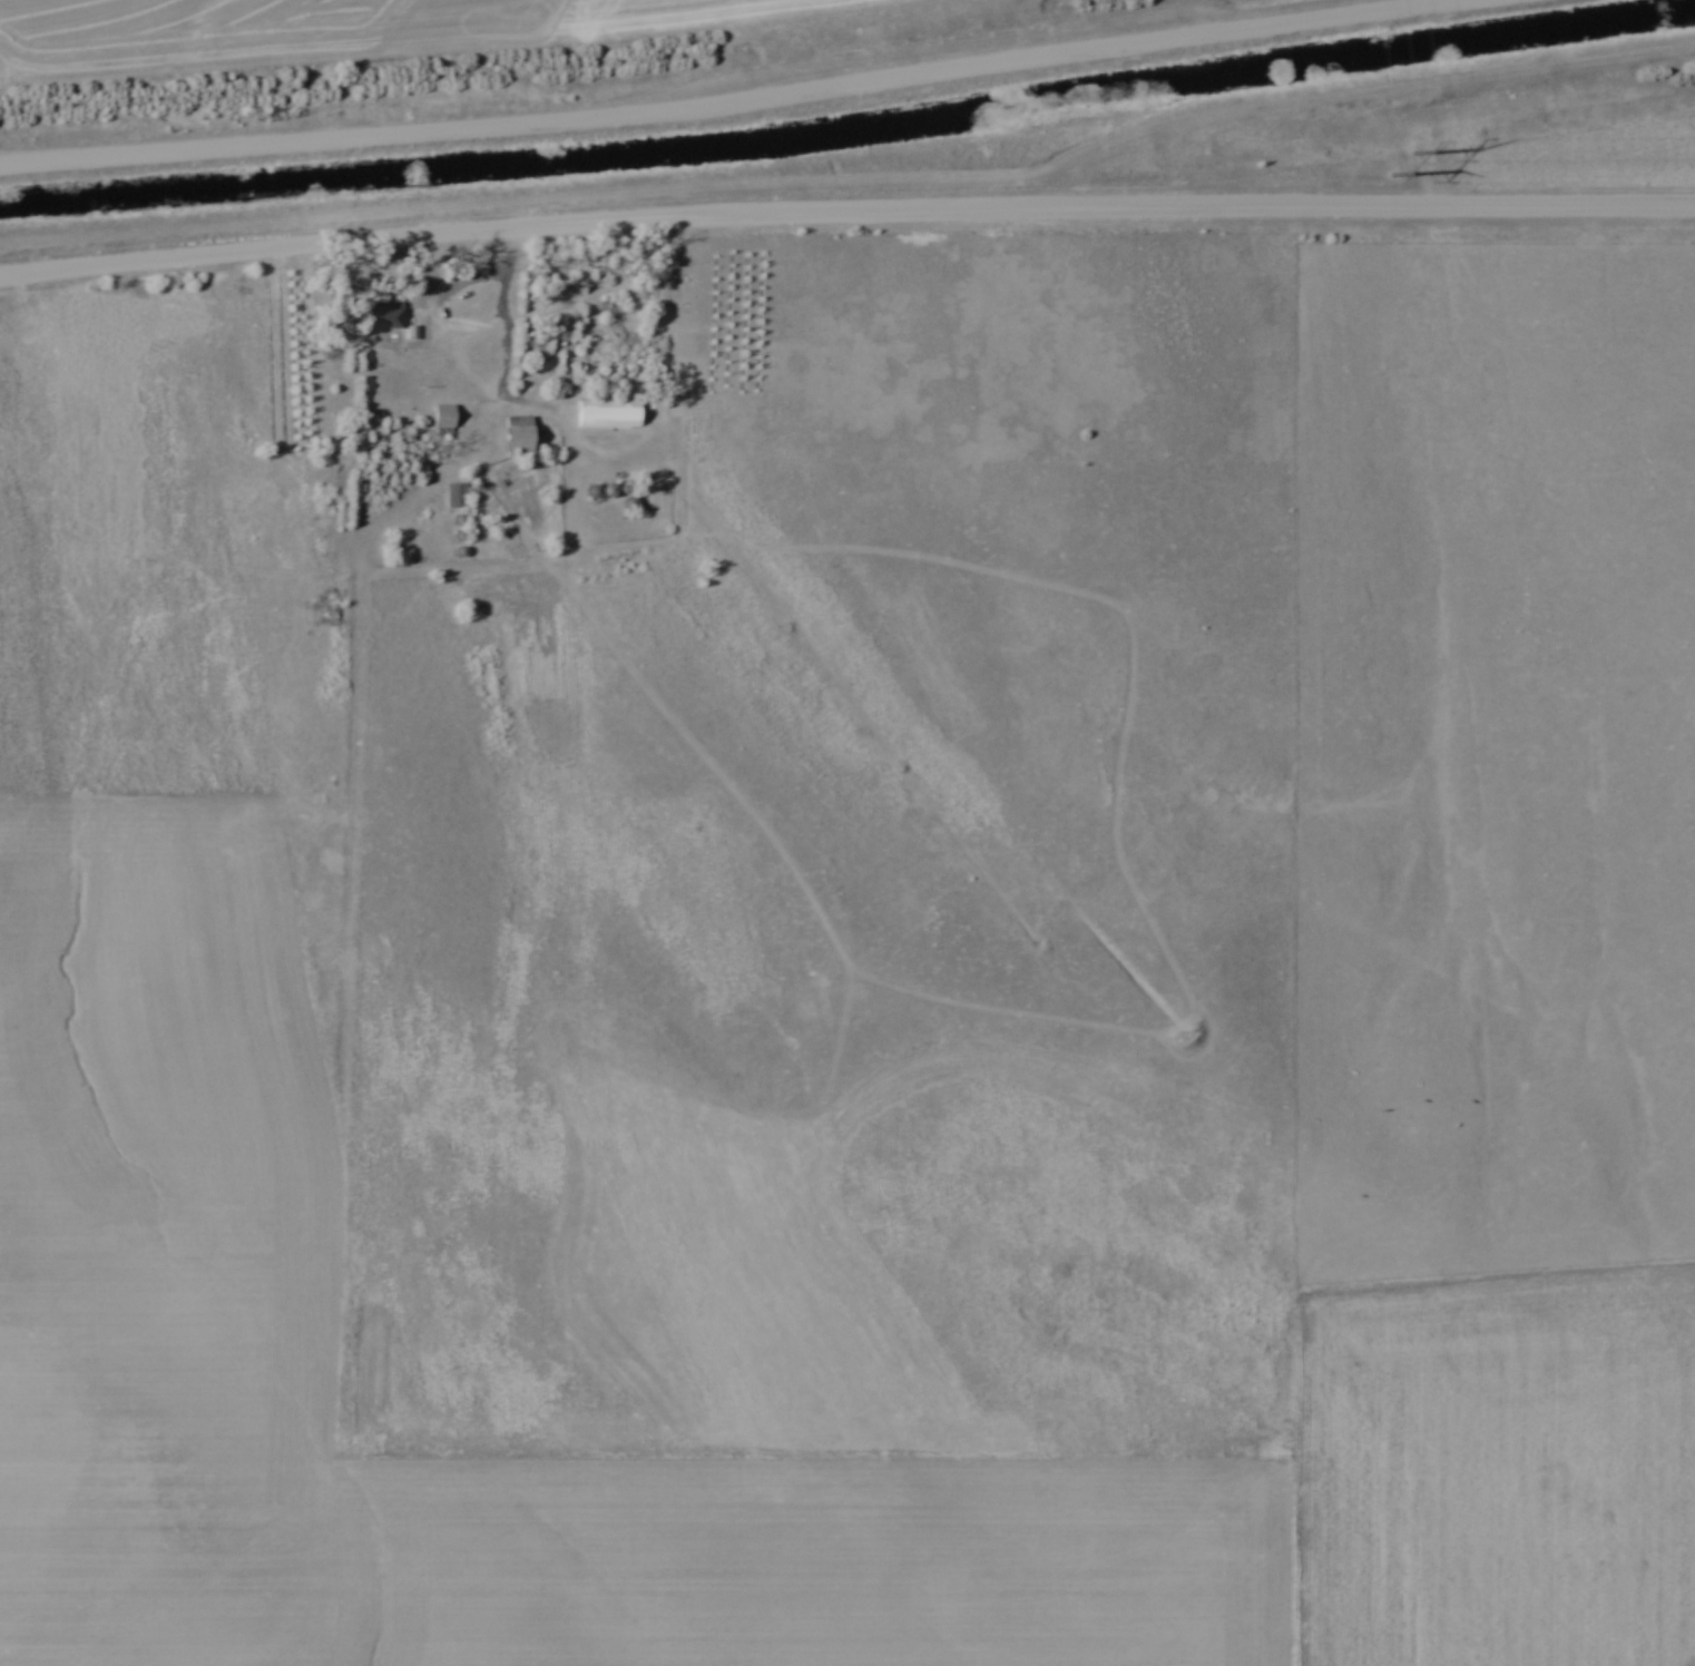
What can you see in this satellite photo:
road: (713, 97)
power tower: (1405, 167)
road: (845, 207)
road: (504, 312)
building: (386, 316)
building: (445, 414)
building: (610, 415)
building: (521, 435)
building: (459, 497)

